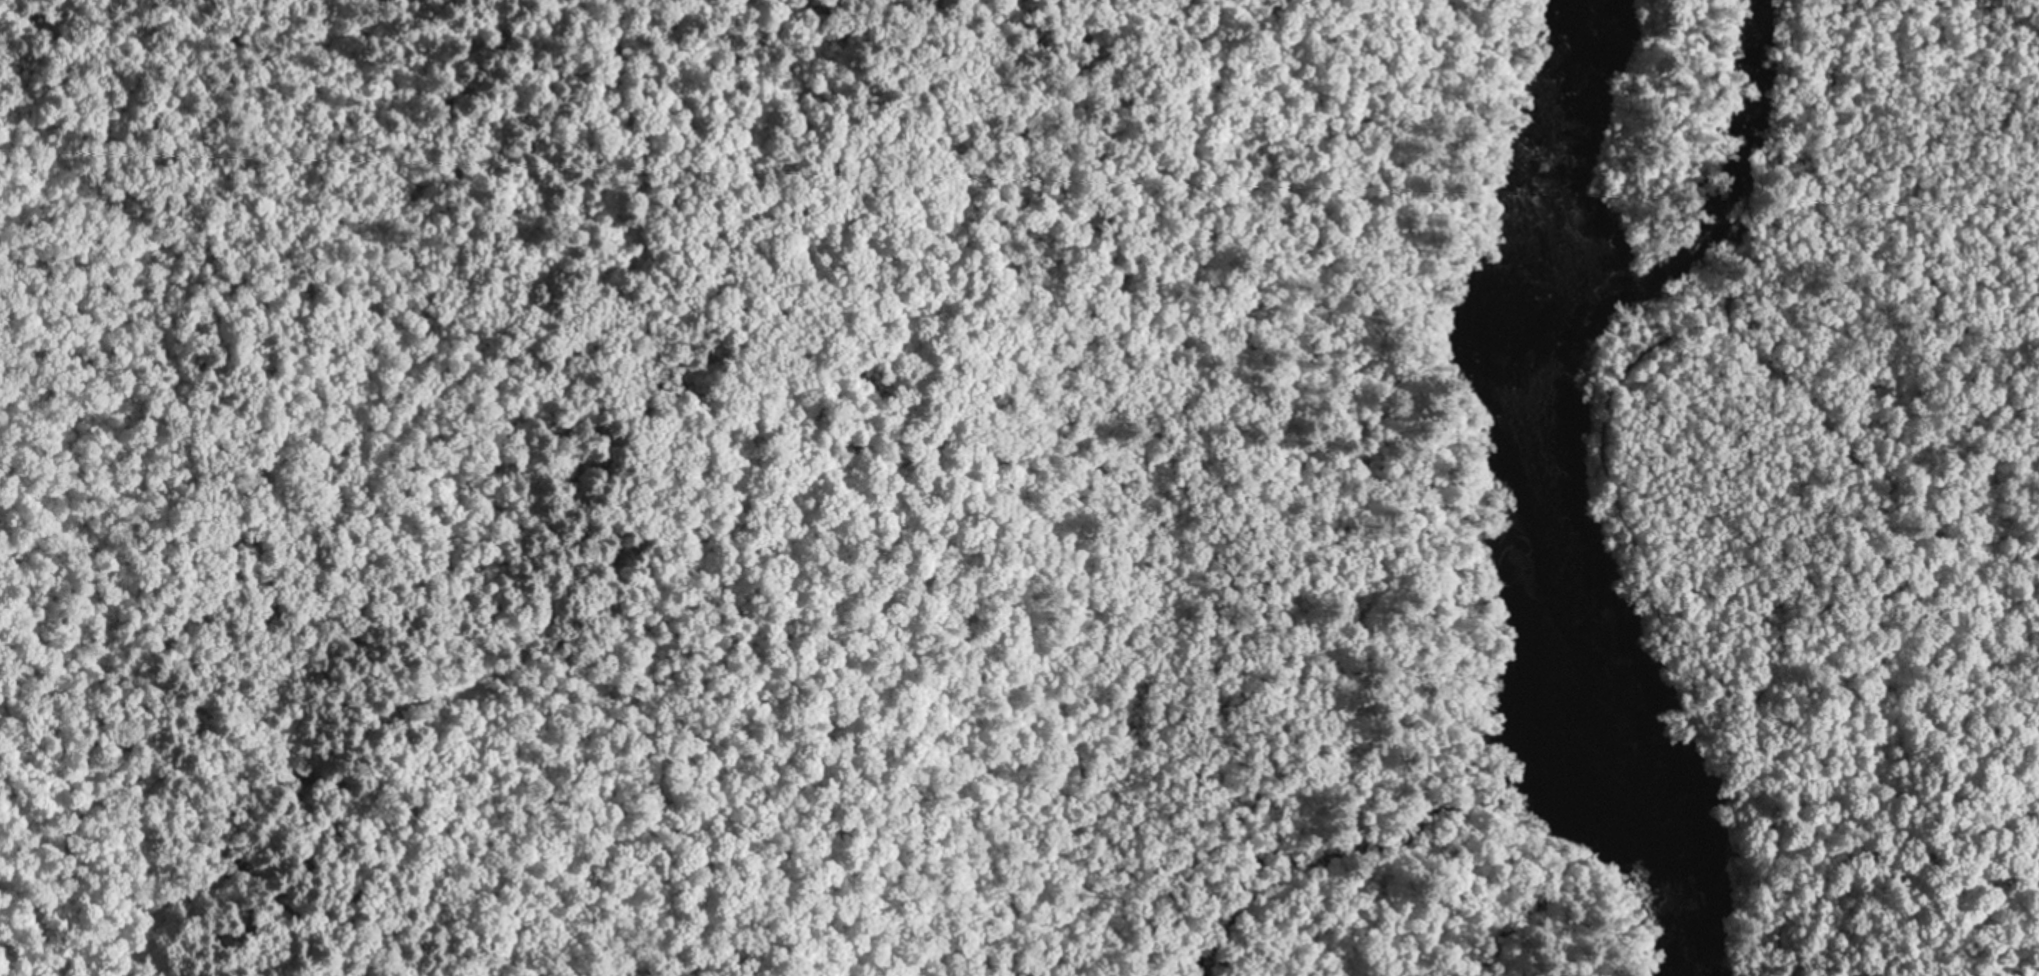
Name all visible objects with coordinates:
river: (1525, 500)

